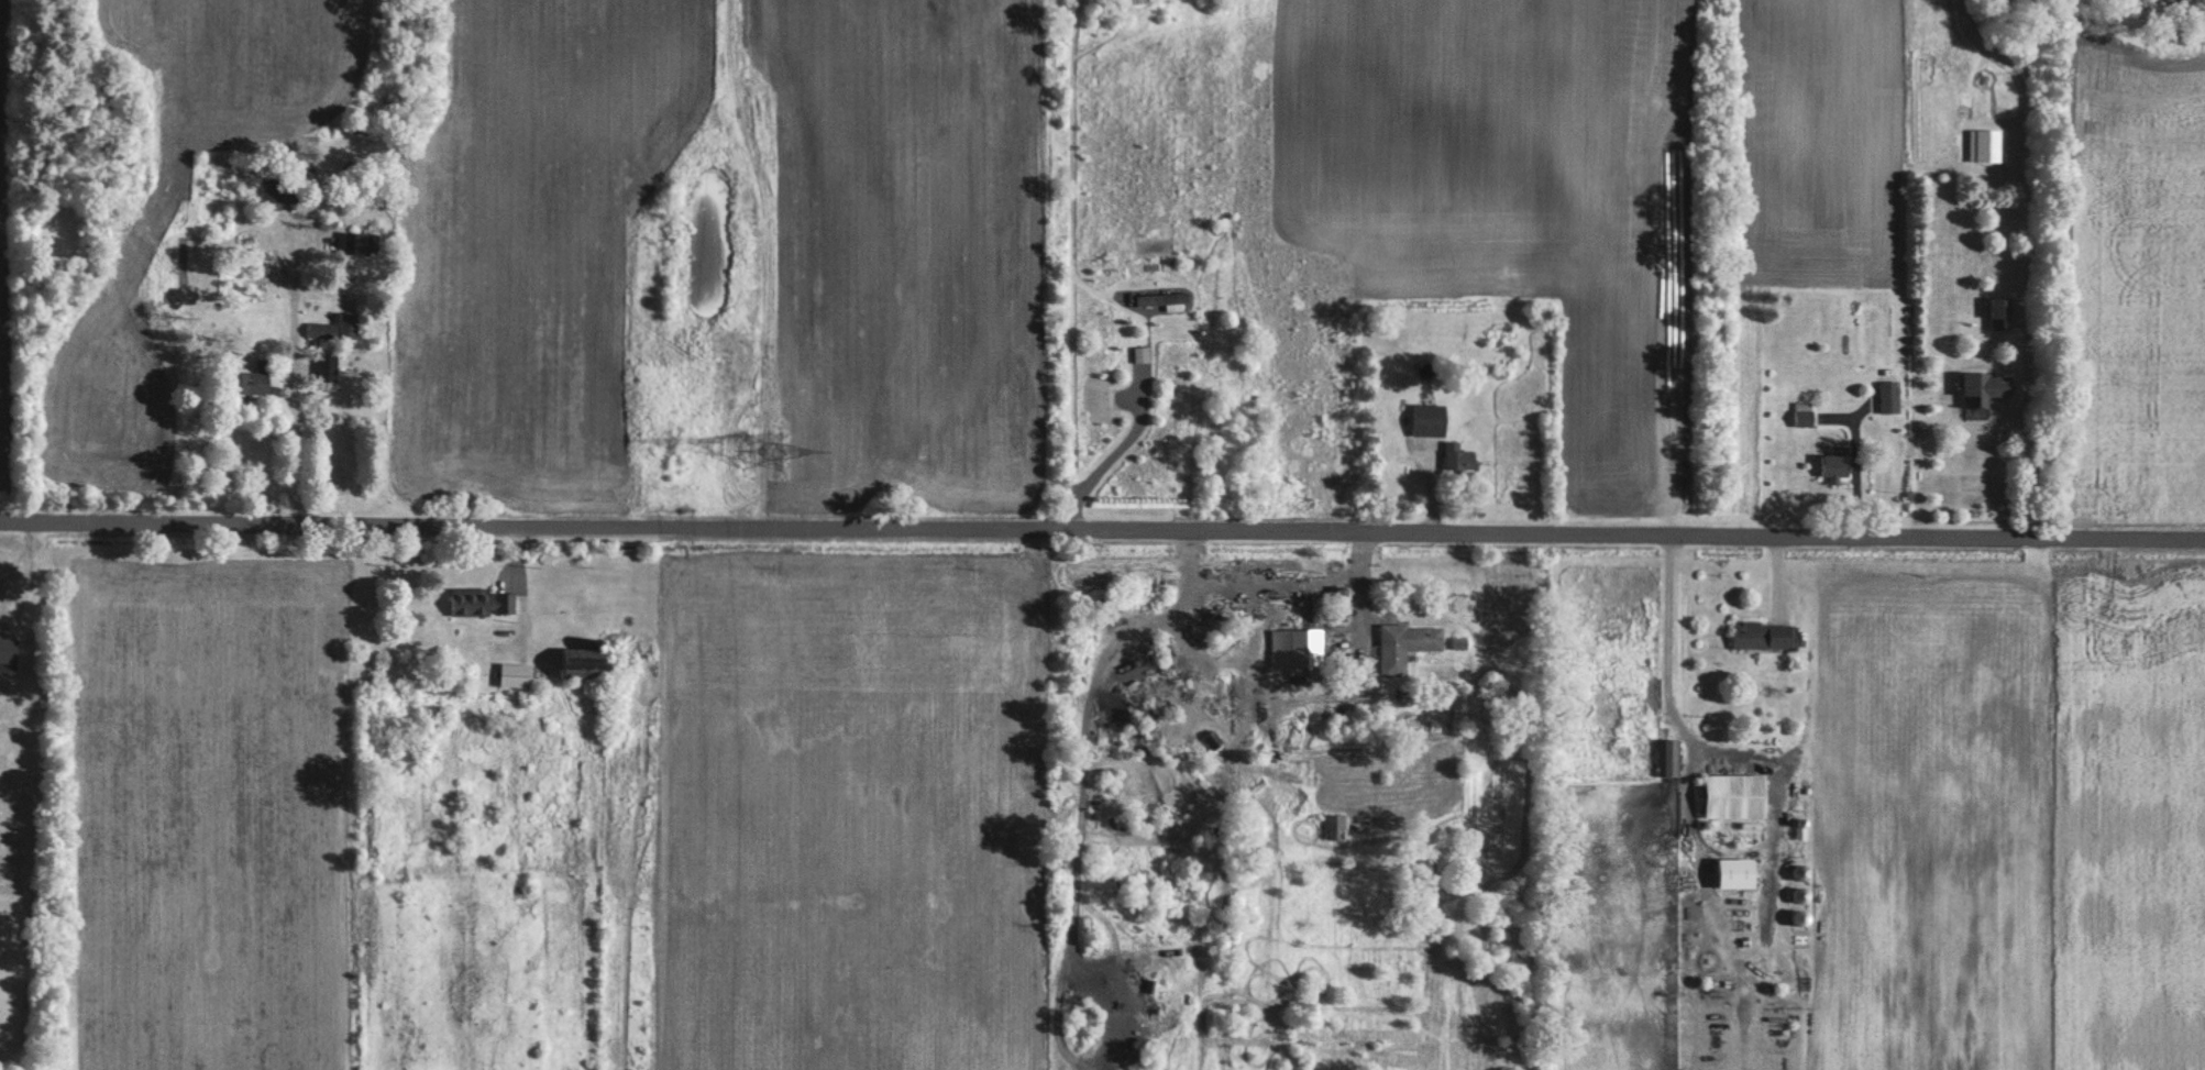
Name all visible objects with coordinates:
building: (275, 205)
building: (359, 244)
building: (1164, 301)
building: (2000, 313)
building: (349, 327)
building: (320, 331)
building: (1140, 354)
building: (329, 367)
building: (251, 380)
building: (1983, 393)
building: (1802, 413)
building: (1429, 420)
road: (293, 440)
power tower: (761, 451)
road: (1120, 454)
building: (1457, 457)
building: (1837, 462)
road: (2028, 463)
road: (1102, 531)
building: (483, 604)
building: (1765, 636)
building: (1405, 647)
building: (1297, 649)
building: (9, 658)
building: (588, 669)
road: (1665, 669)
building: (516, 676)
building: (1145, 716)
building: (1669, 759)
building: (1737, 796)
building: (1333, 825)
building: (1738, 873)

